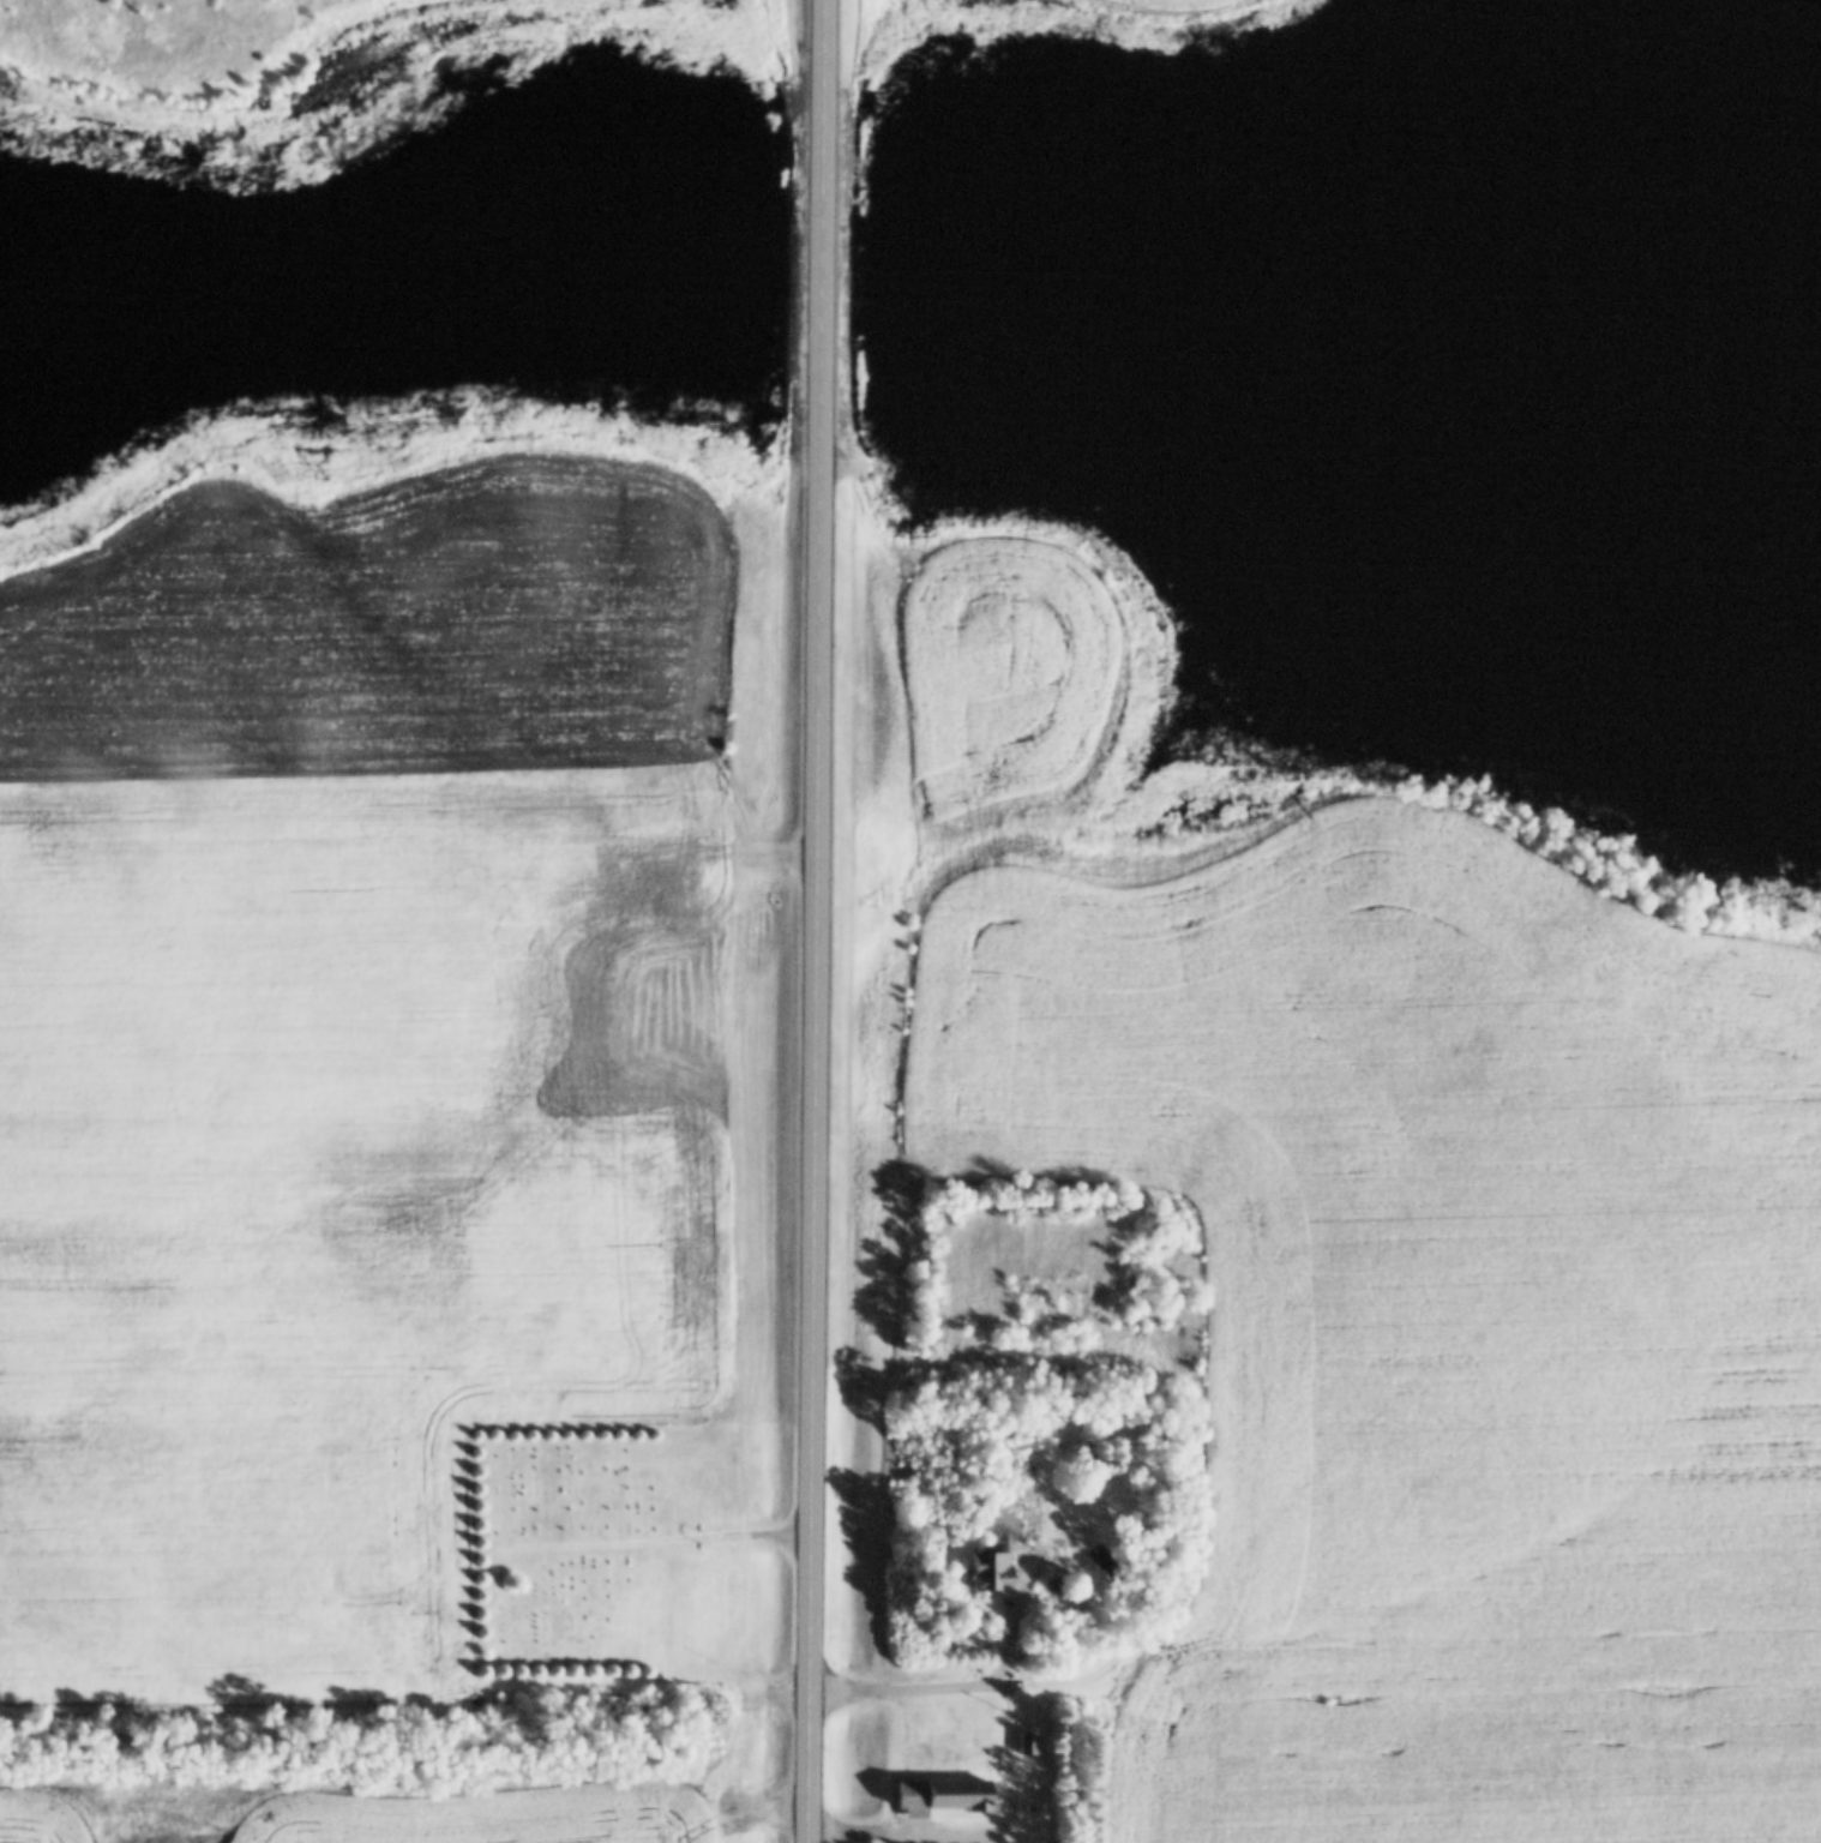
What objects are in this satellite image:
road: (821, 920)
building: (994, 1555)
road: (1416, 1668)
road: (913, 1694)
building: (1024, 1745)
road: (1018, 1777)
building: (950, 1796)
road: (887, 1838)

